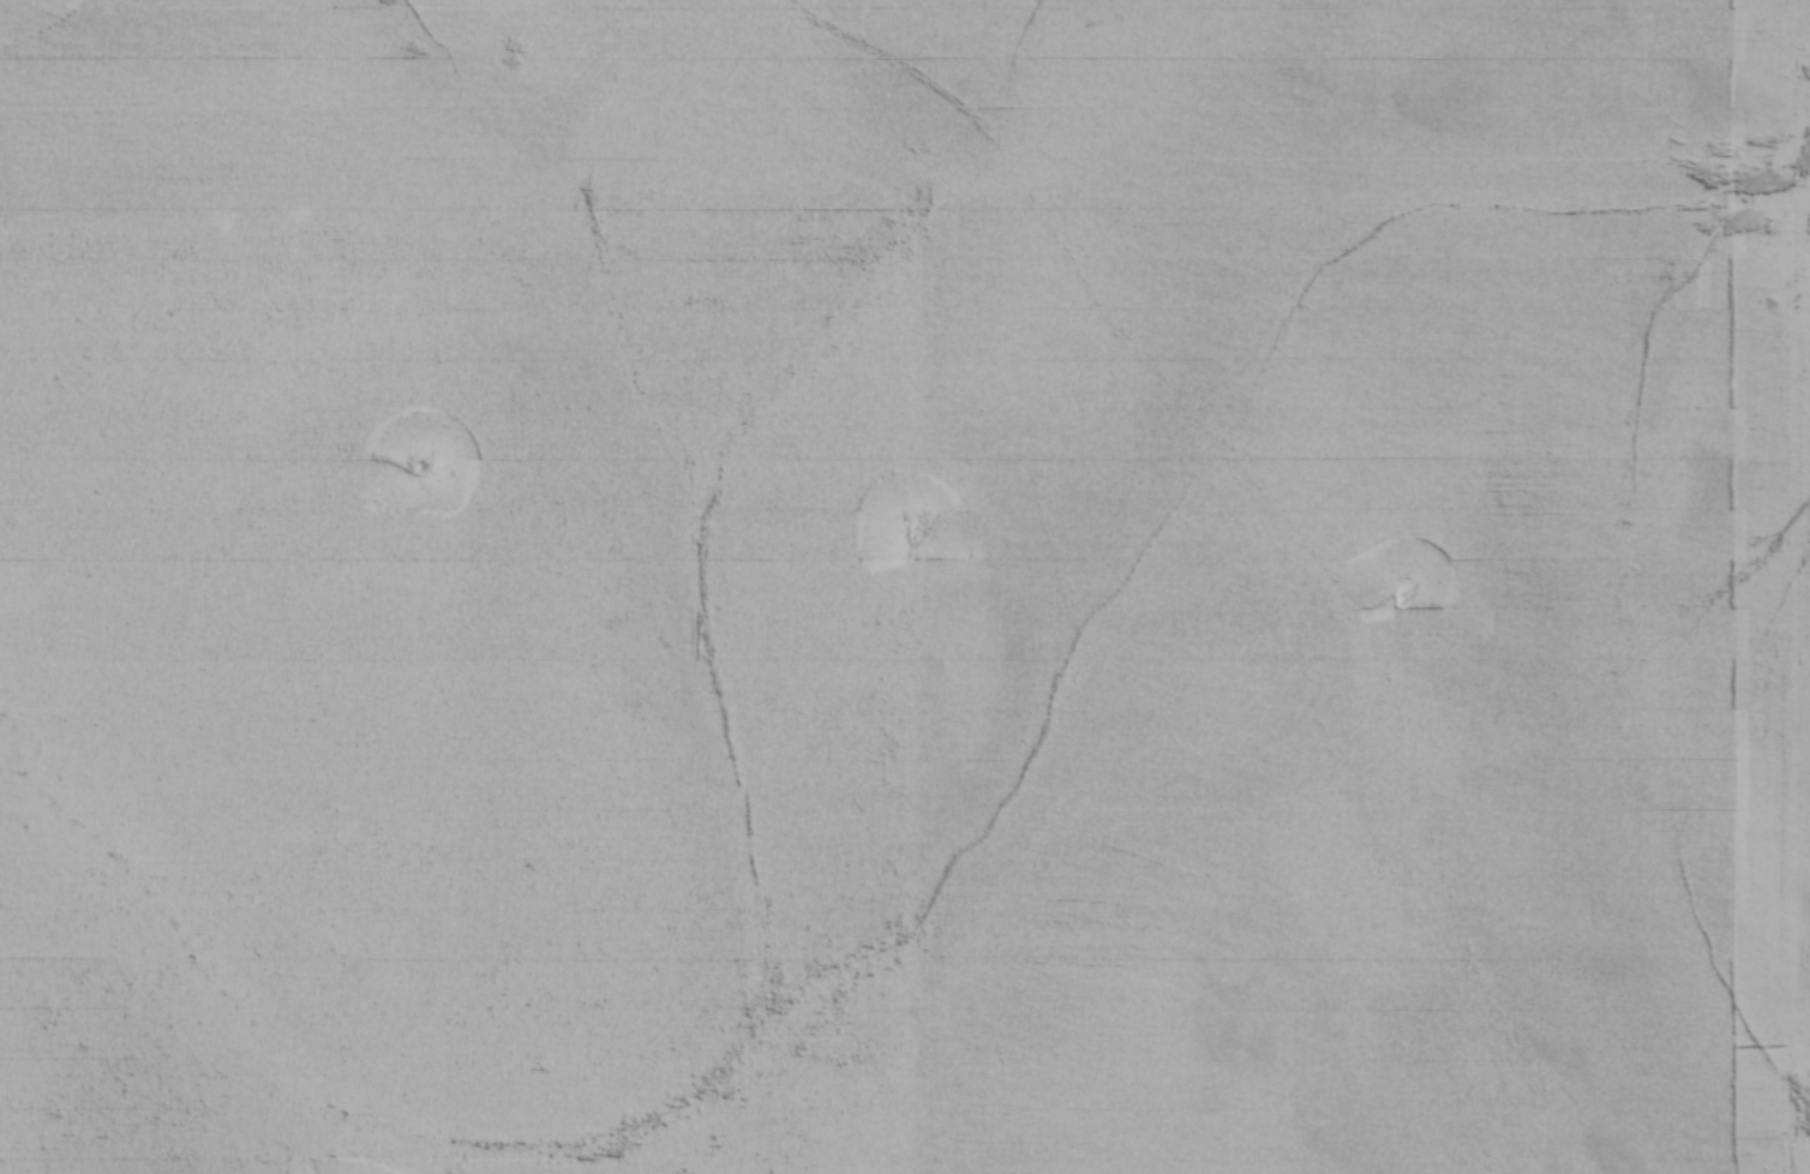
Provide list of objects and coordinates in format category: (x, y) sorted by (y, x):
crop: (454, 691)

